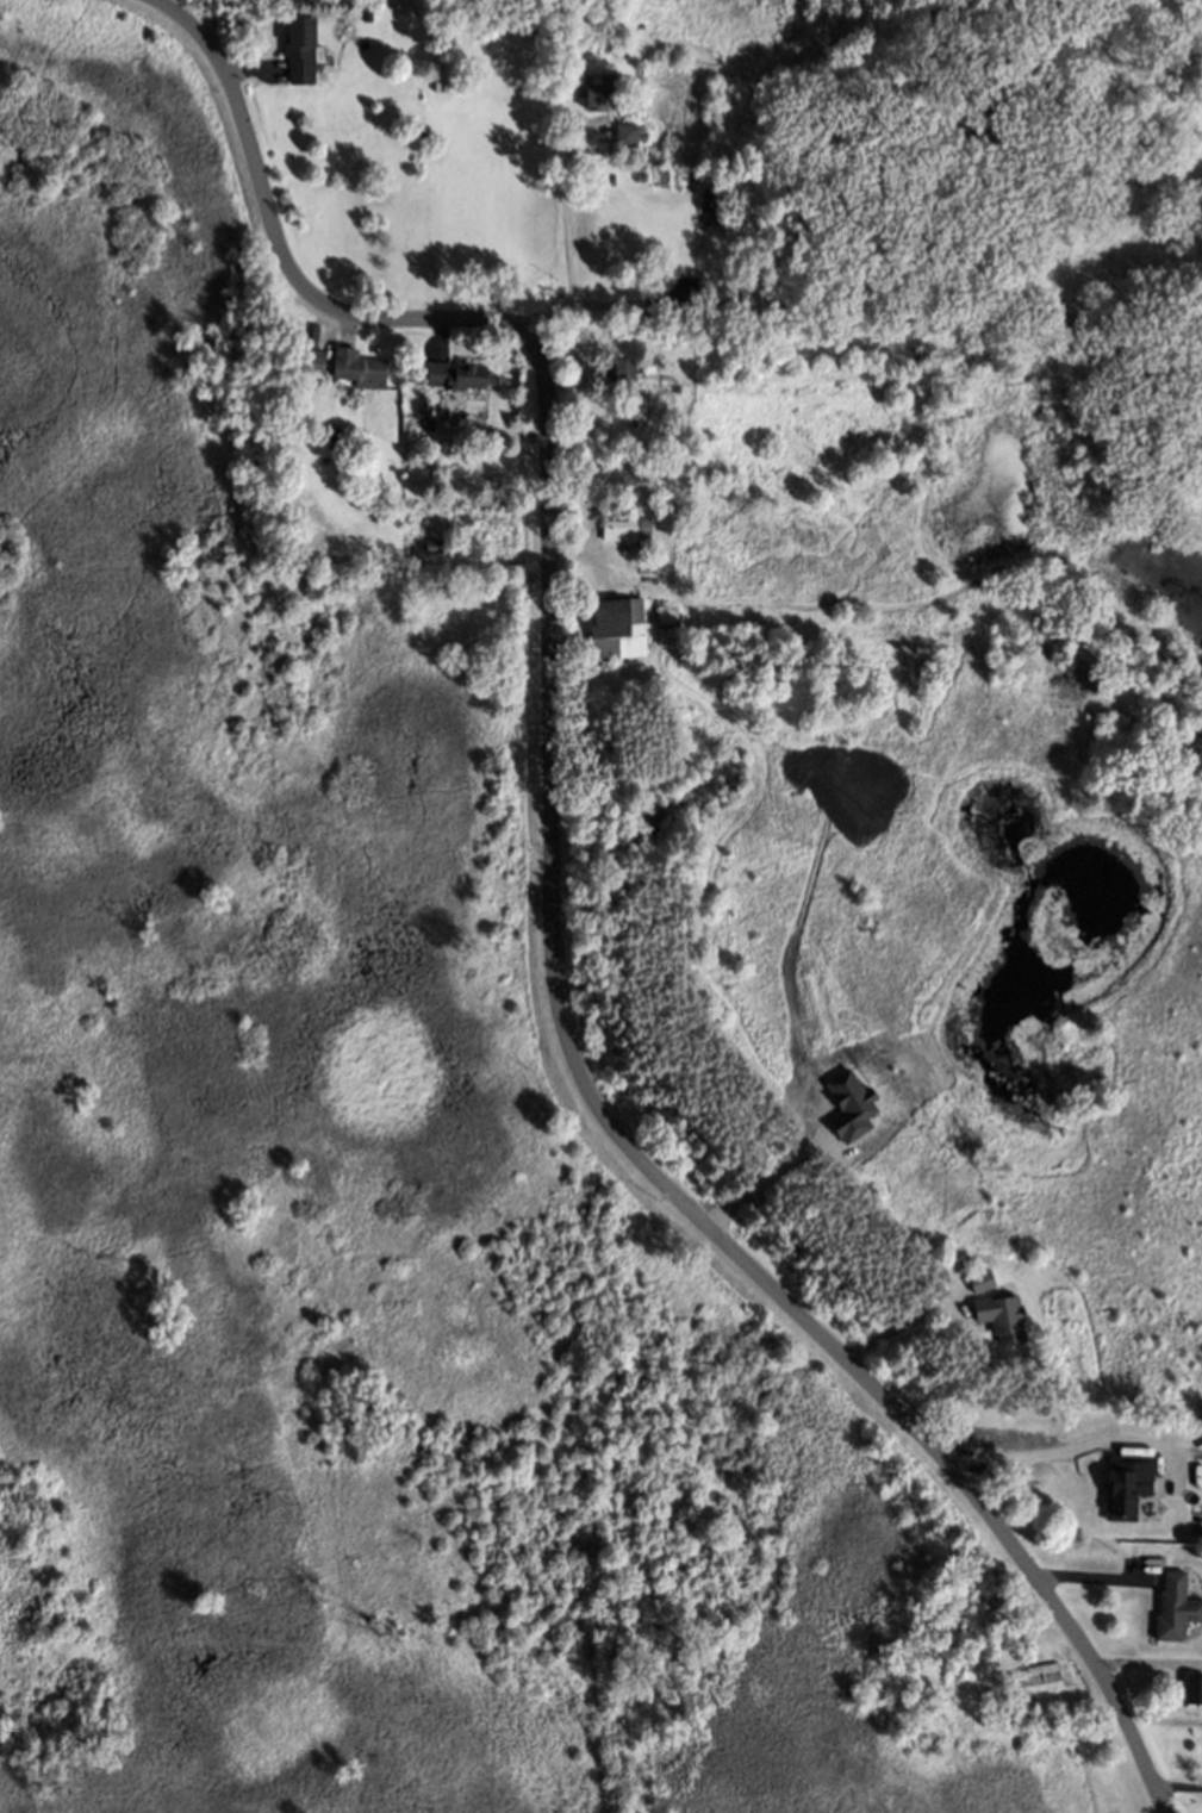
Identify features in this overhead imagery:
building: (362, 12)
building: (606, 27)
building: (299, 39)
building: (443, 71)
building: (596, 87)
building: (559, 93)
building: (624, 111)
building: (627, 131)
building: (712, 203)
road: (558, 241)
building: (681, 294)
building: (305, 357)
building: (356, 362)
building: (615, 365)
building: (457, 373)
building: (422, 419)
building: (641, 518)
building: (615, 529)
building: (430, 541)
building: (665, 618)
building: (612, 627)
road: (555, 898)
building: (849, 1105)
road: (760, 1180)
building: (980, 1282)
building: (996, 1316)
road: (1033, 1456)
building: (1187, 1489)
building: (1114, 1504)
building: (1171, 1608)
building: (1038, 1674)
building: (1191, 1689)

